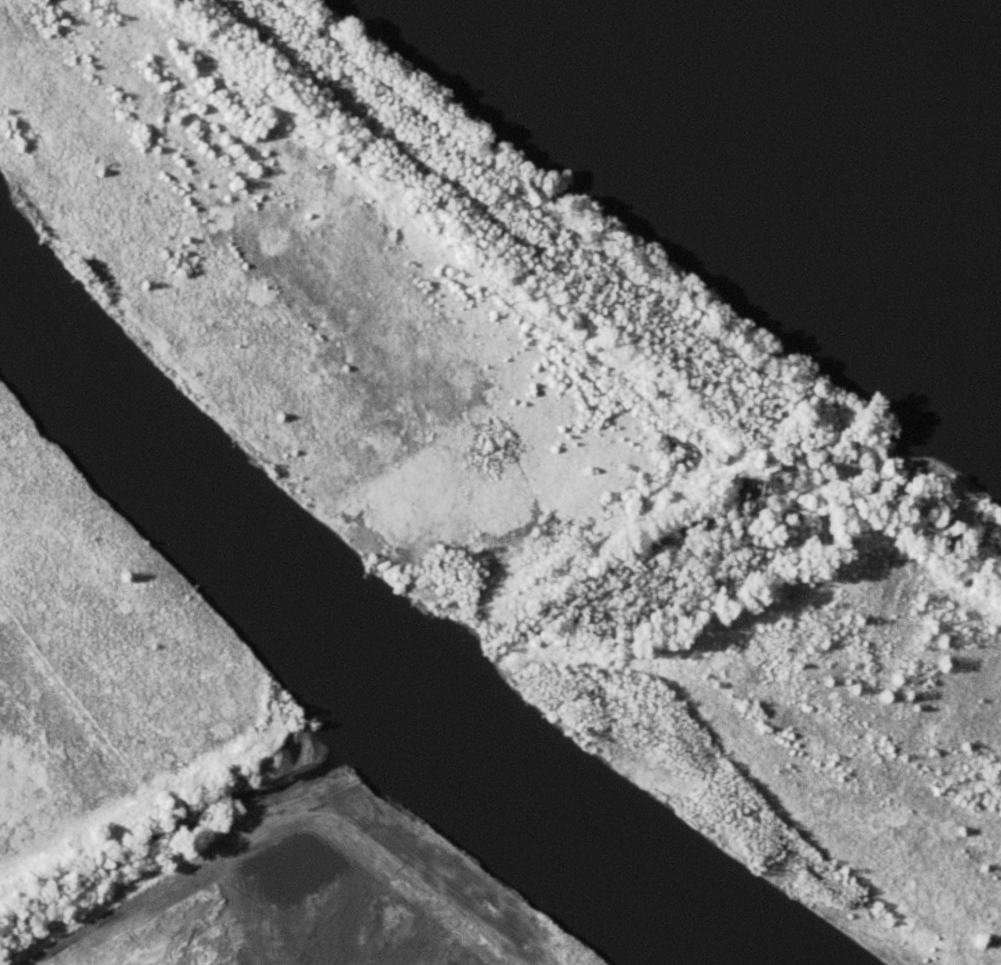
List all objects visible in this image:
river: (855, 92)

